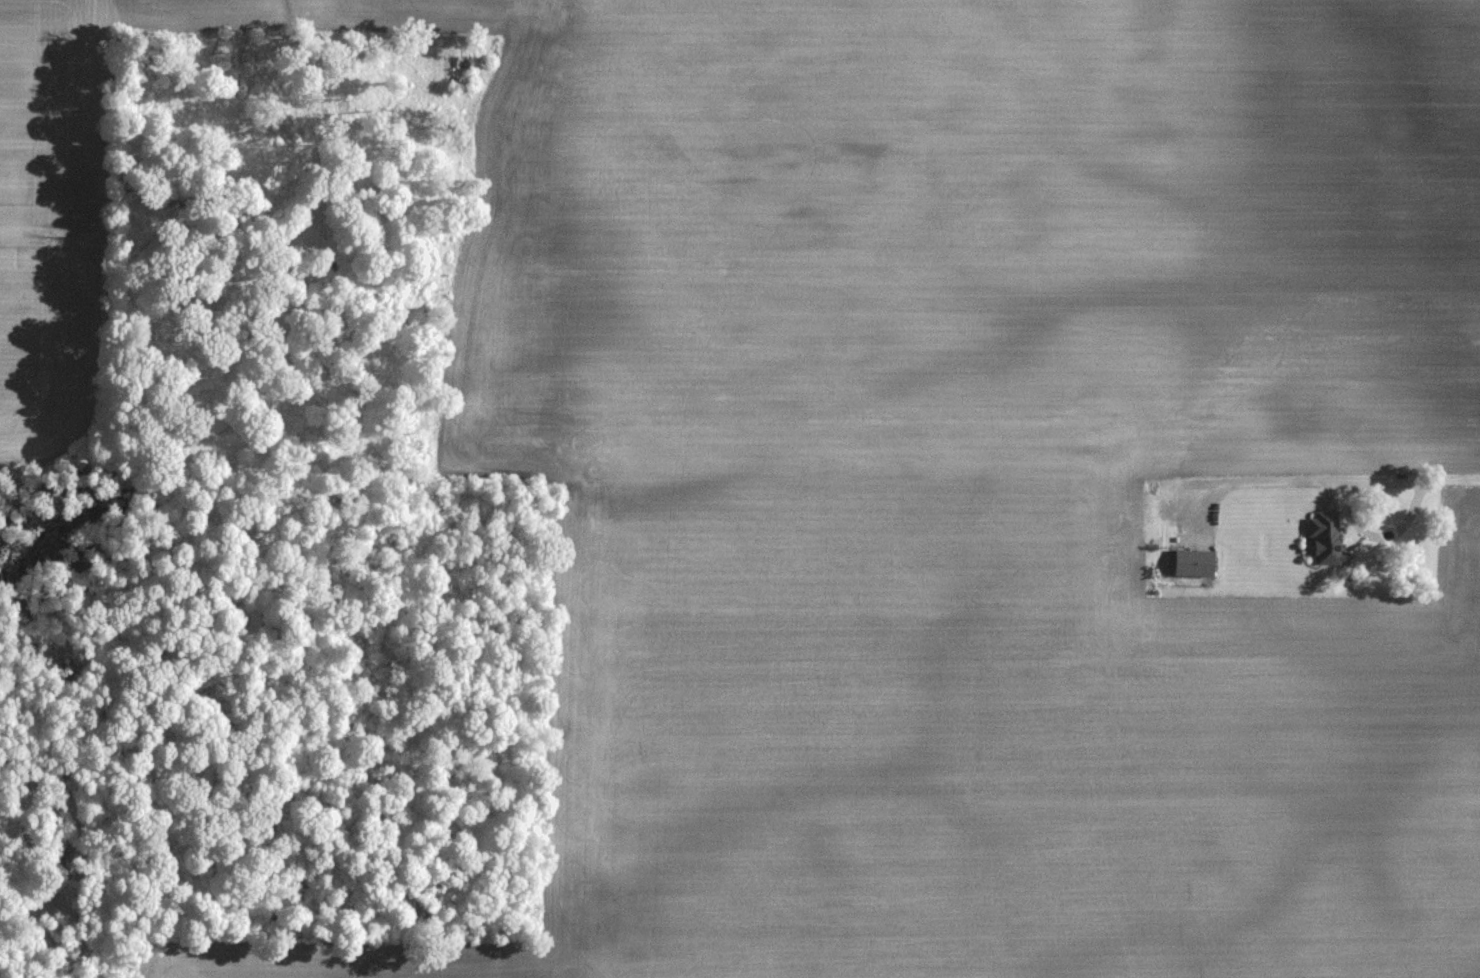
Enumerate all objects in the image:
road: (1402, 480)
building: (1327, 537)
building: (1194, 563)

